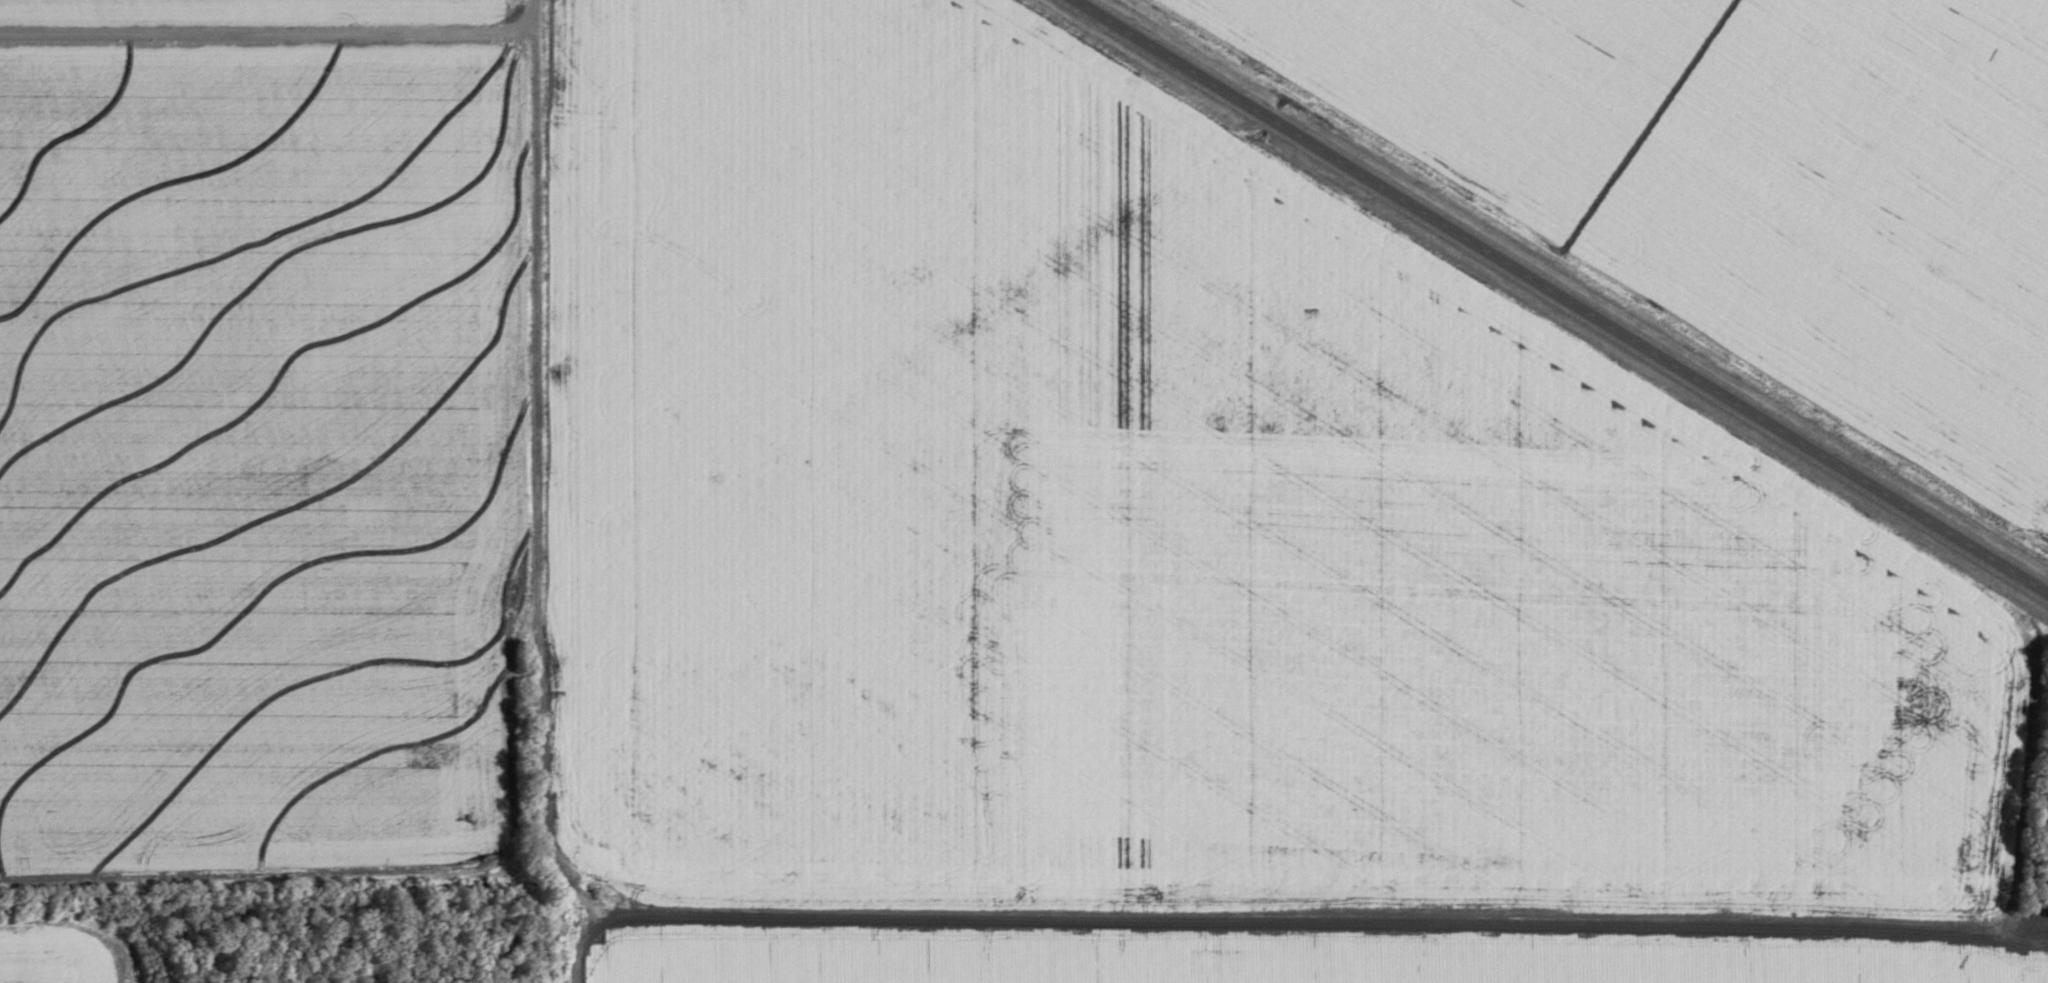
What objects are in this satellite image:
road: (1558, 297)

